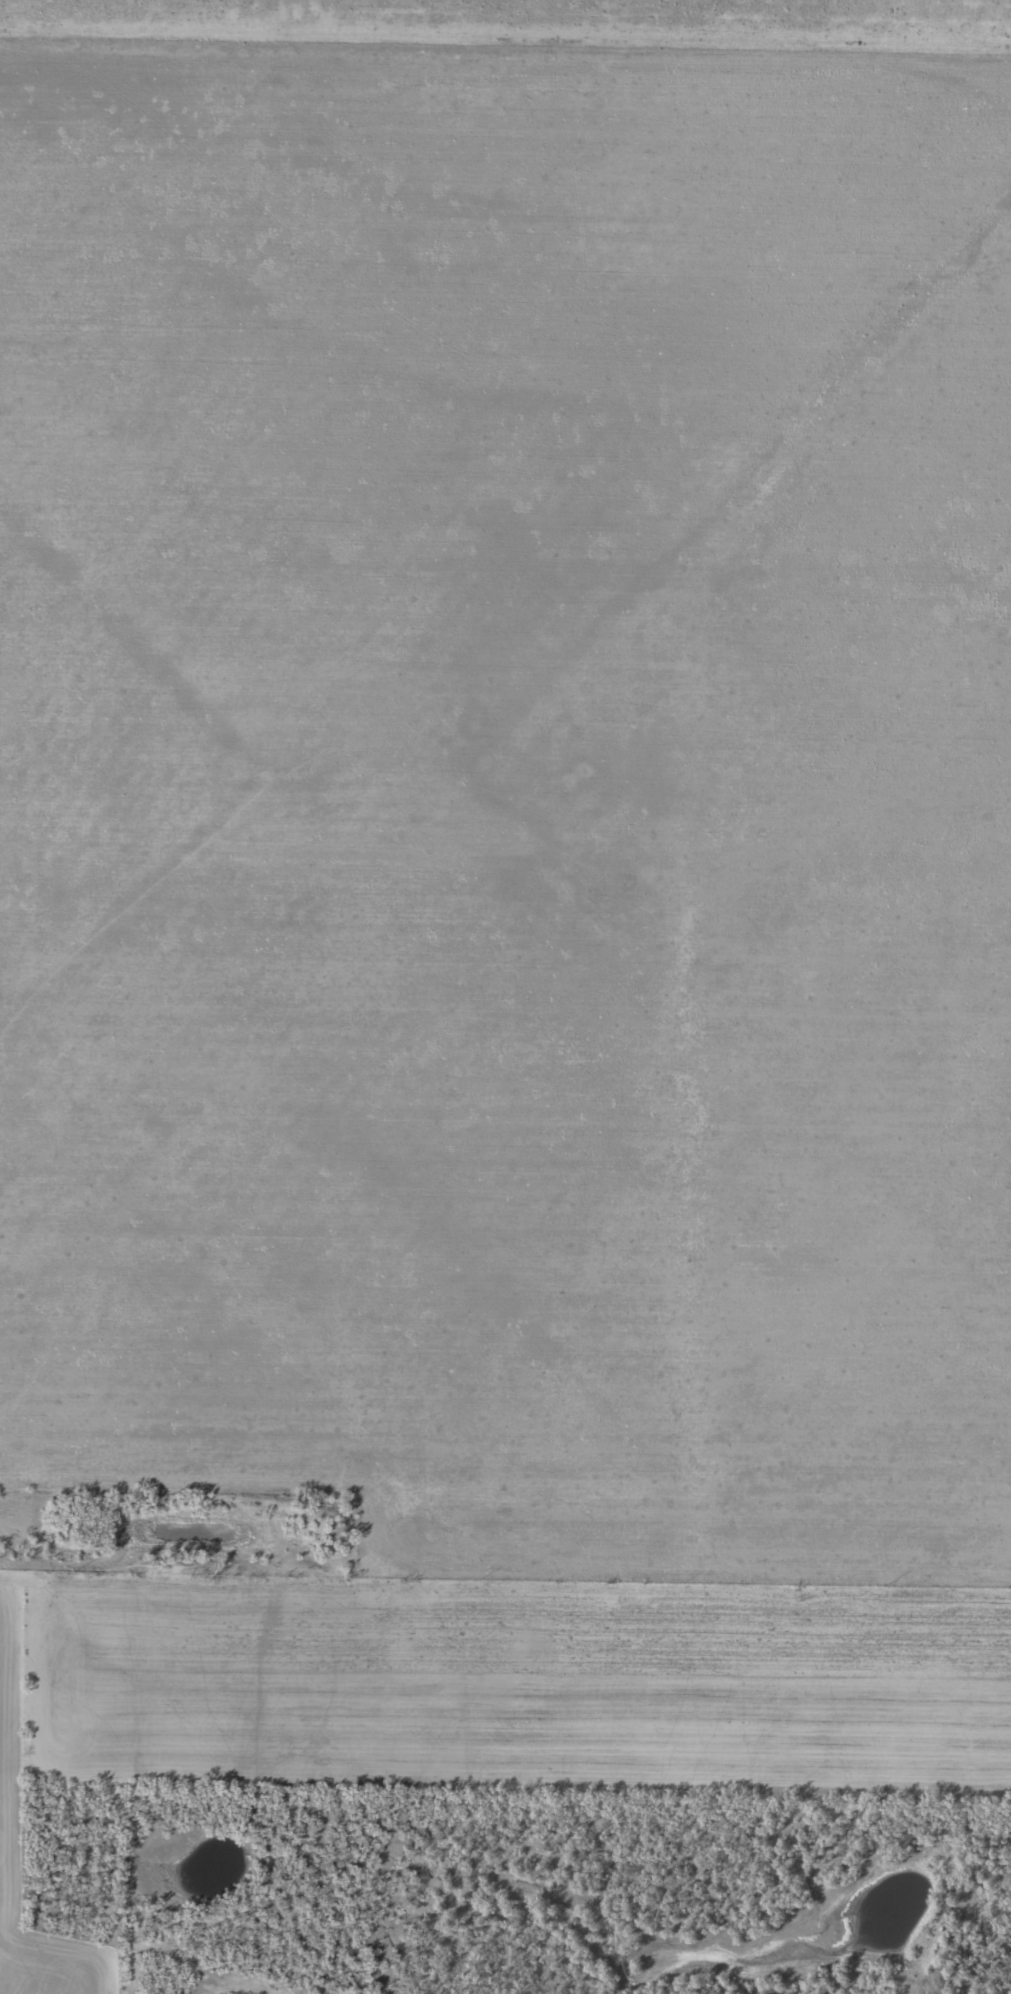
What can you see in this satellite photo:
road: (26, 1859)

